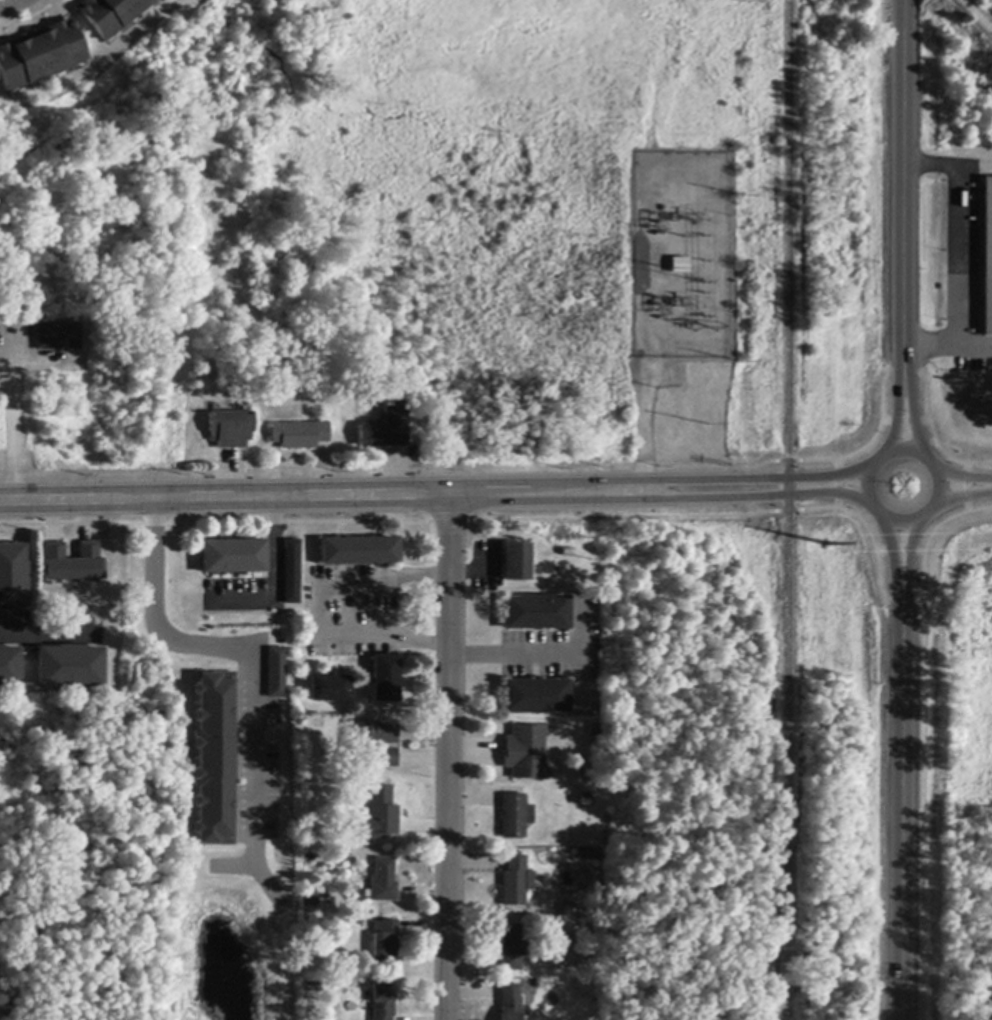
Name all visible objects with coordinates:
road: (7, 3)
power tower: (747, 3)
power tower: (842, 6)
building: (109, 14)
road: (974, 17)
park: (339, 52)
building: (40, 55)
power tower: (745, 194)
road: (904, 198)
road: (955, 253)
power substation: (683, 254)
building: (988, 258)
building: (680, 265)
power tower: (707, 329)
building: (59, 338)
road: (967, 346)
power tower: (743, 364)
building: (386, 428)
road: (897, 428)
building: (230, 429)
road: (912, 429)
road: (9, 434)
building: (299, 434)
road: (961, 478)
road: (764, 479)
road: (765, 494)
road: (327, 497)
road: (960, 497)
railway: (786, 509)
road: (924, 516)
power tower: (830, 546)
road: (892, 547)
road: (908, 547)
building: (359, 551)
building: (233, 556)
building: (516, 562)
building: (71, 563)
building: (291, 572)
road: (152, 575)
building: (12, 578)
road: (274, 580)
road: (318, 612)
building: (536, 613)
road: (38, 632)
road: (513, 650)
road: (576, 651)
building: (9, 667)
building: (69, 667)
building: (274, 671)
building: (385, 679)
building: (329, 689)
building: (536, 697)
road: (251, 717)
building: (374, 746)
building: (525, 753)
building: (215, 758)
road: (449, 758)
road: (901, 800)
building: (380, 814)
building: (513, 817)
building: (383, 881)
building: (515, 882)
railway: (778, 919)
building: (384, 941)
building: (513, 948)
building: (311, 987)
building: (382, 1000)
building: (510, 1002)
park: (80, 1018)

